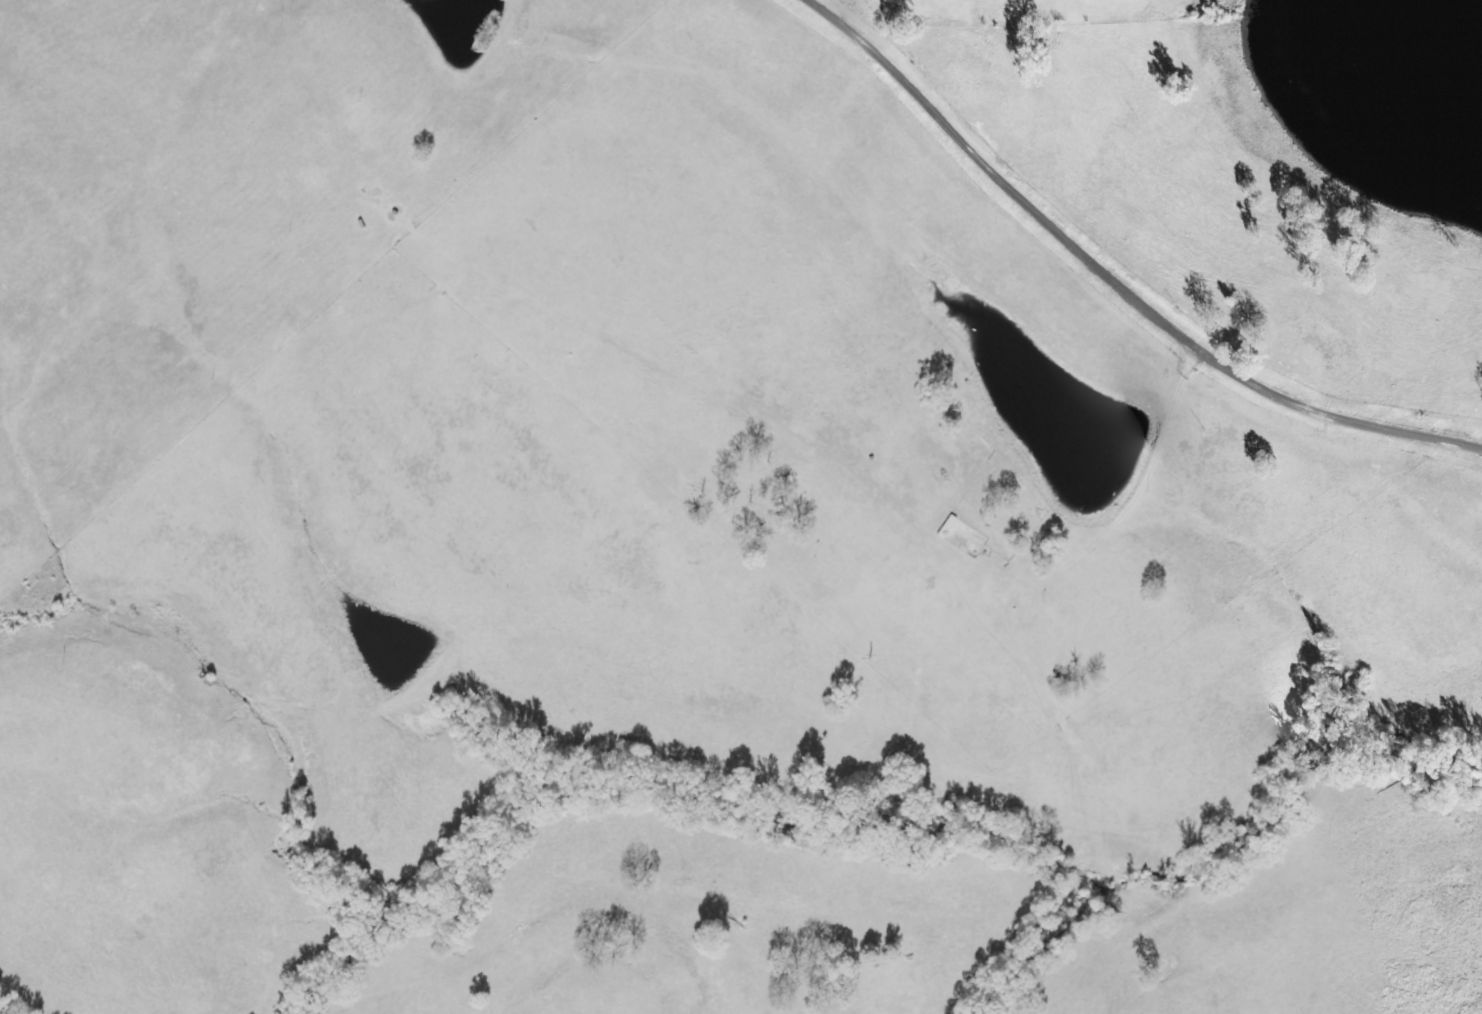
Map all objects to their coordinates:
road: (1287, 176)
road: (1115, 274)

